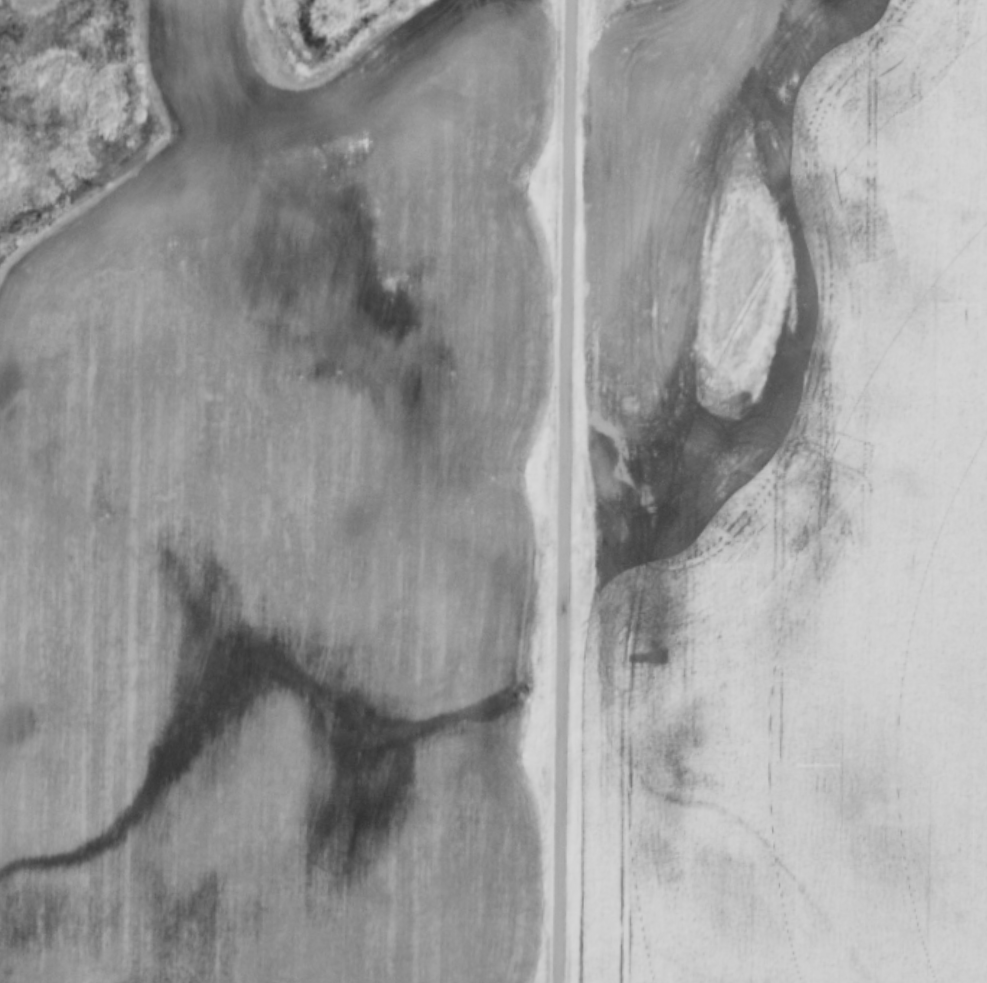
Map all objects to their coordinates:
road: (553, 491)

